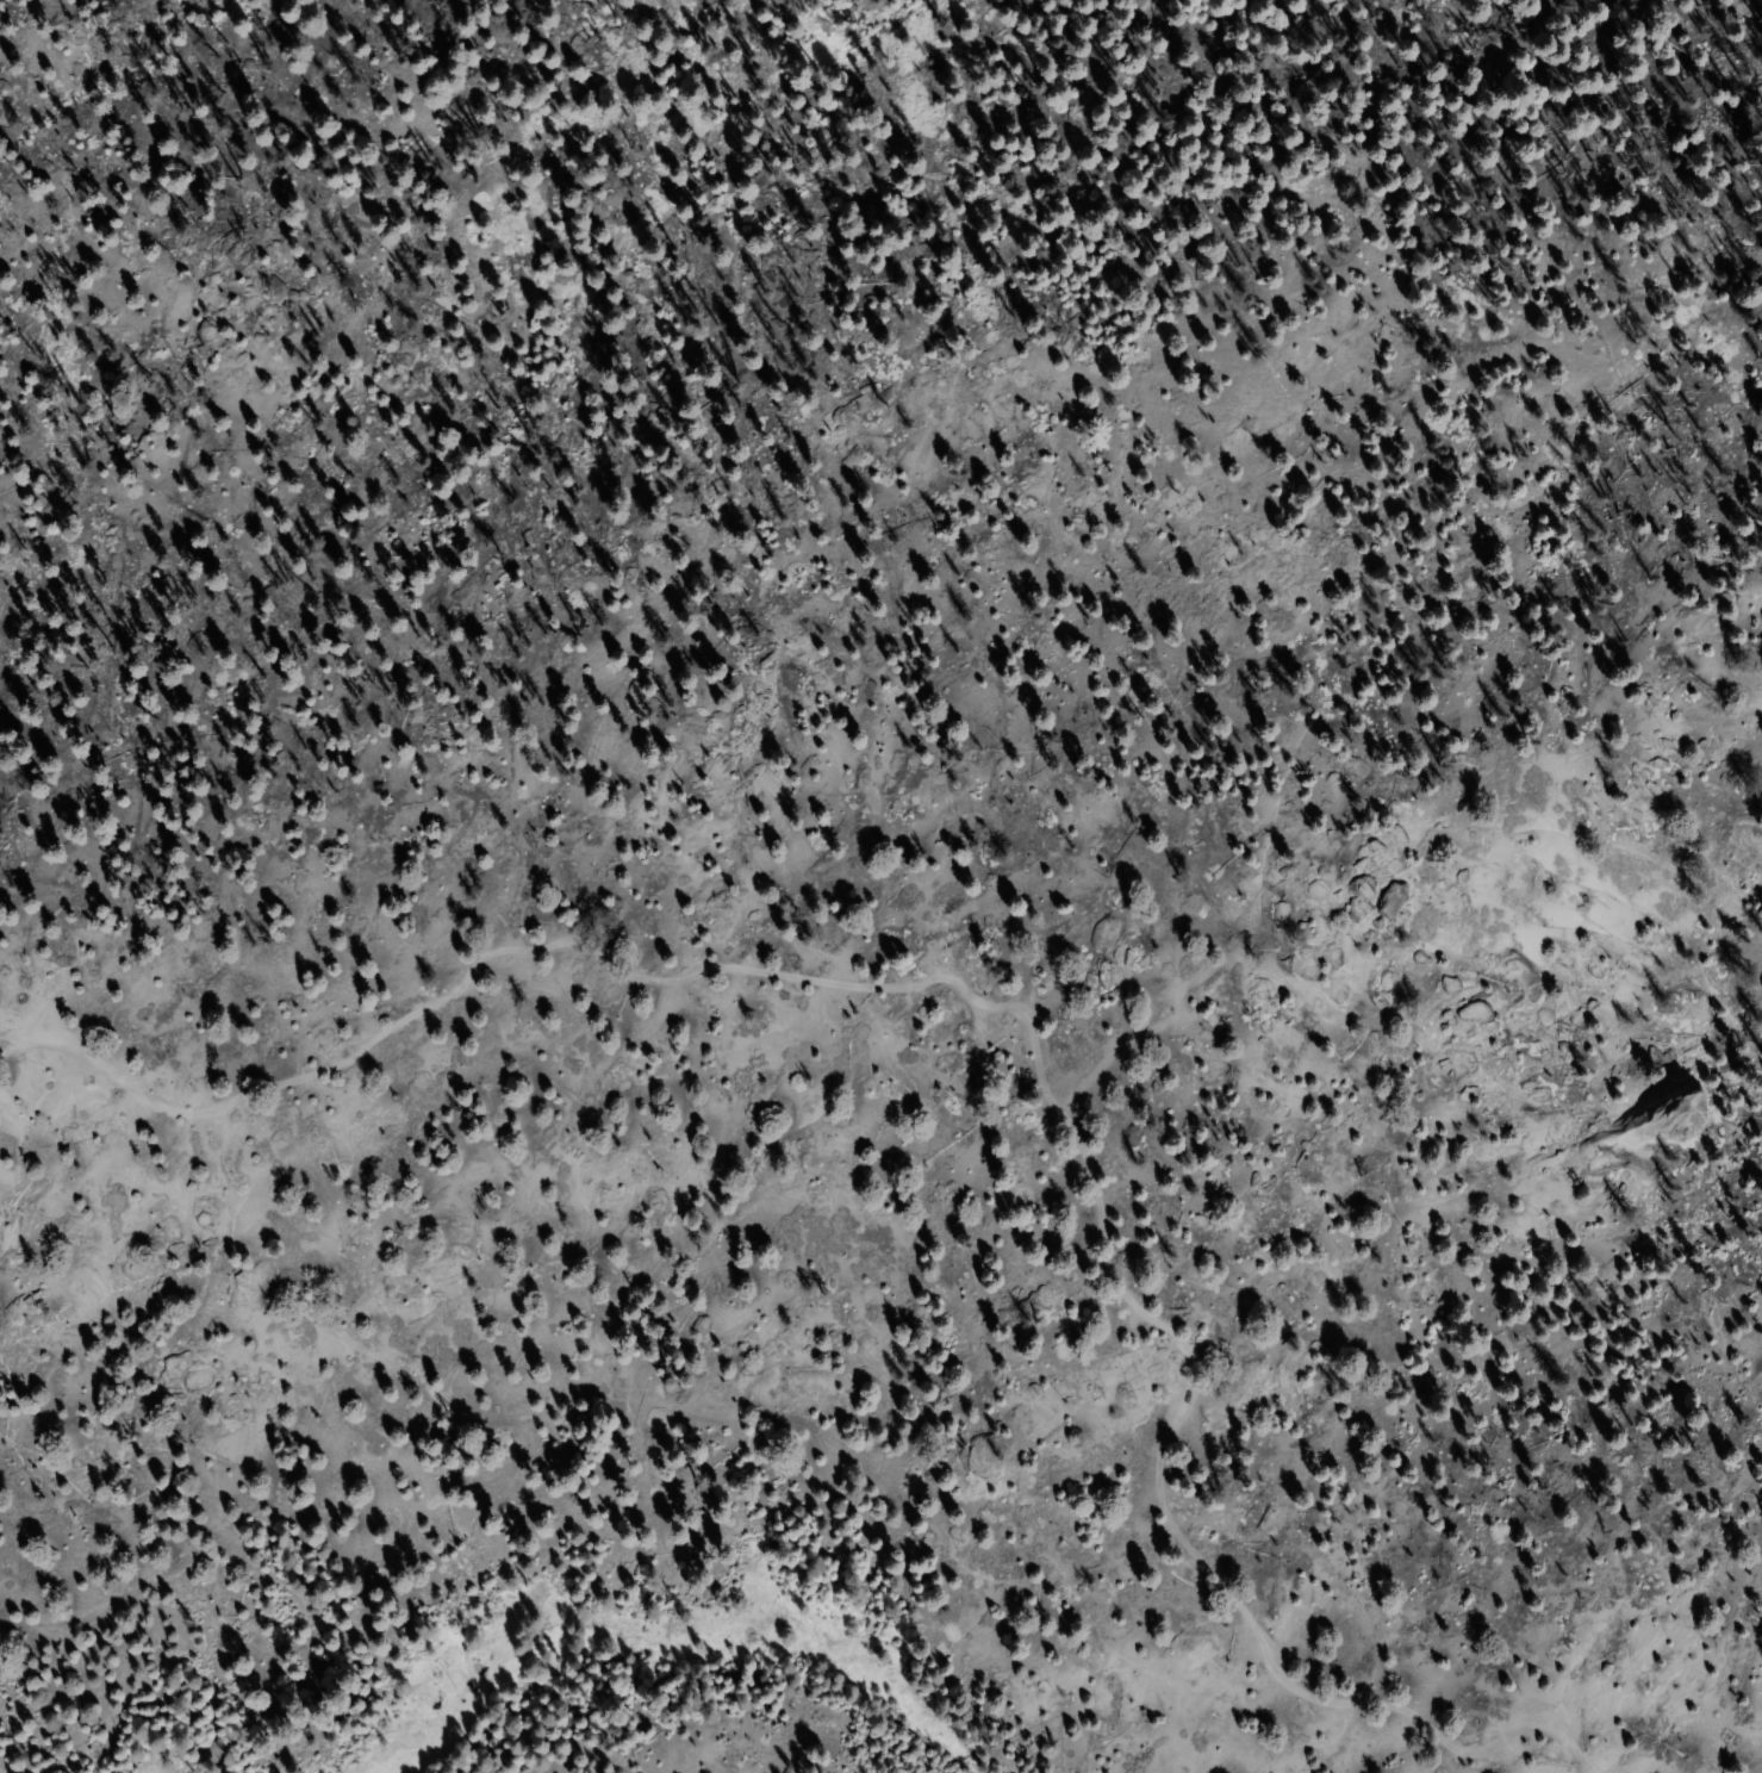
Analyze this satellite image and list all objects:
building: (820, 57)
building: (281, 91)
building: (518, 347)
building: (575, 450)
road: (1023, 1010)

